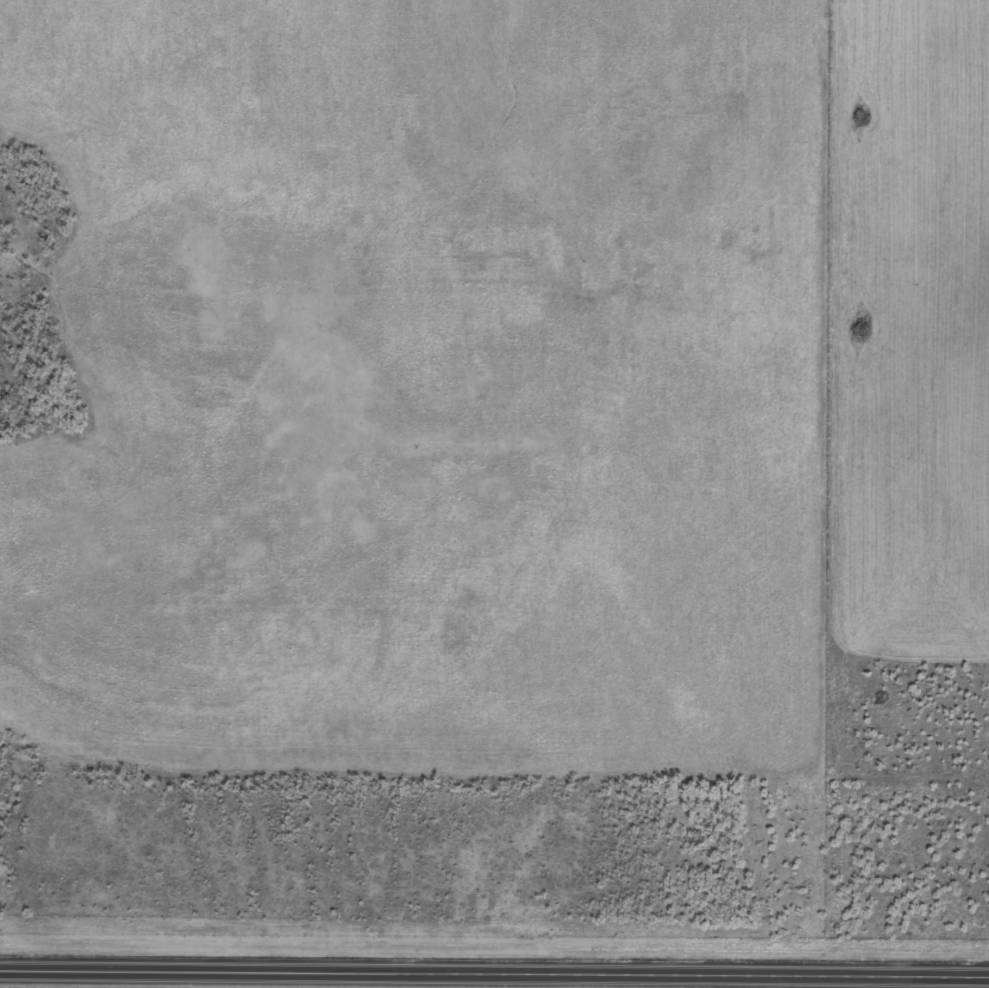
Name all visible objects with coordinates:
road: (494, 975)

